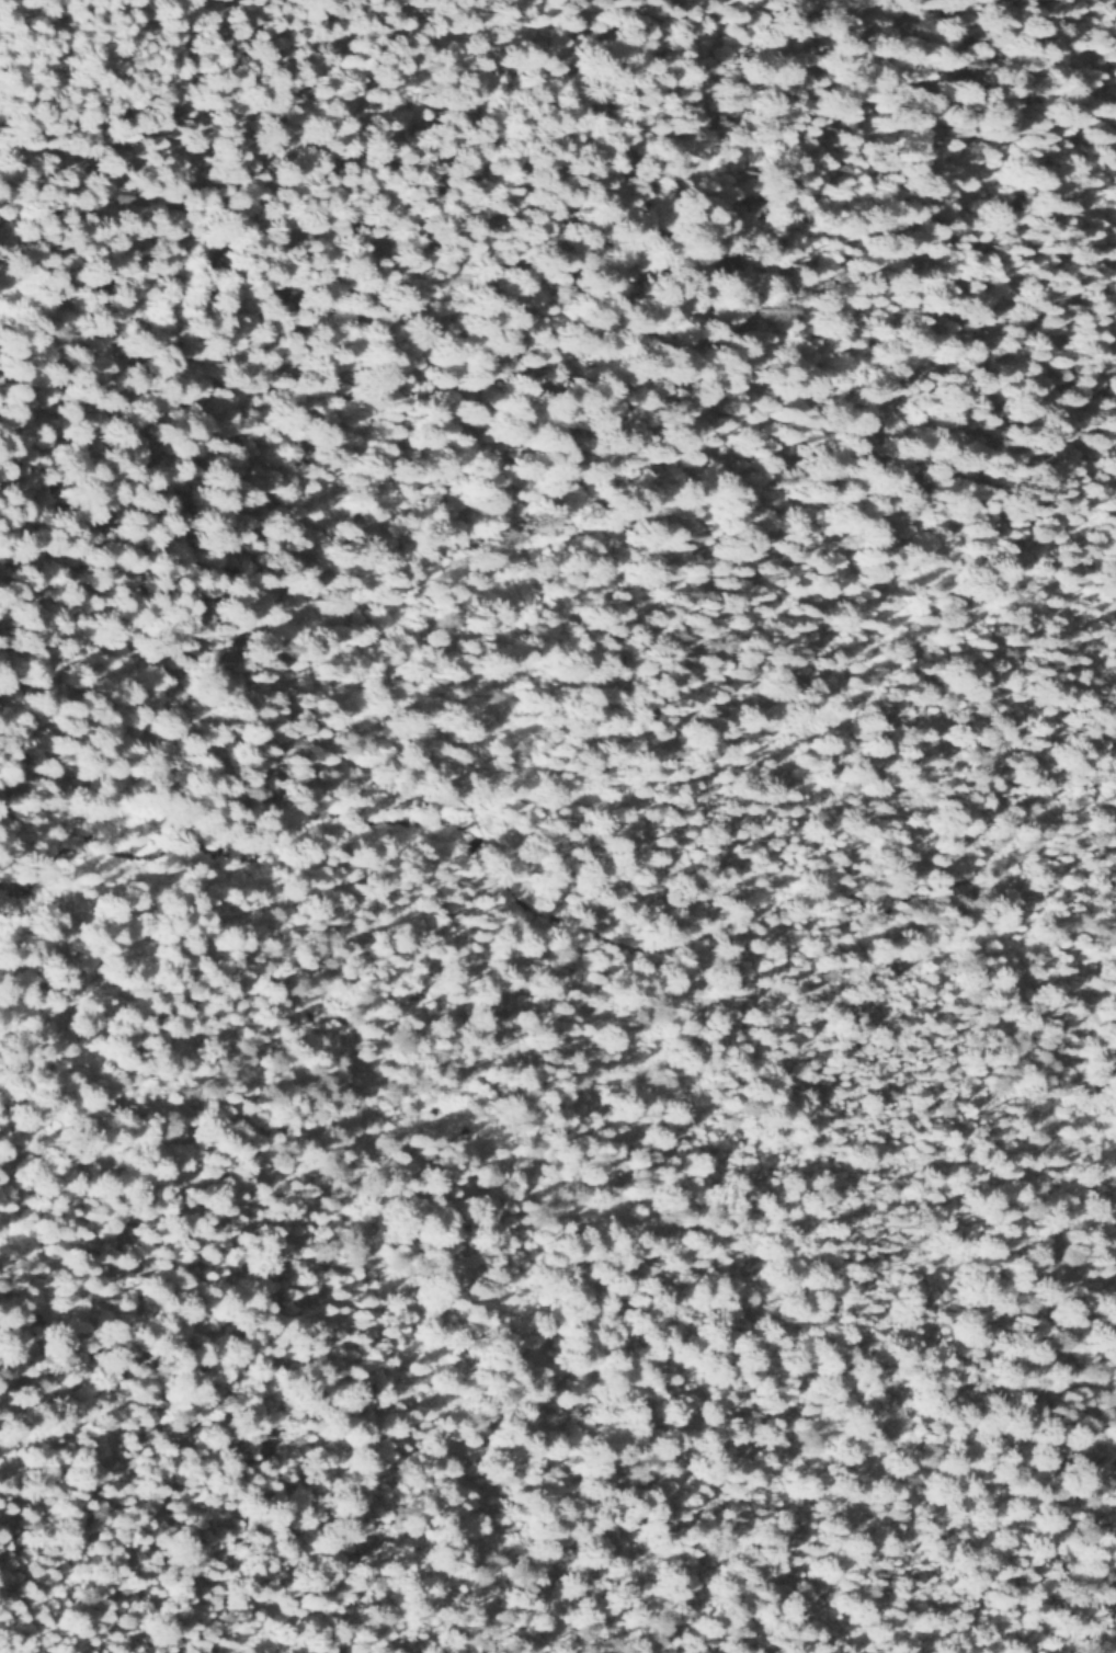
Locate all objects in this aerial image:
road: (532, 488)

